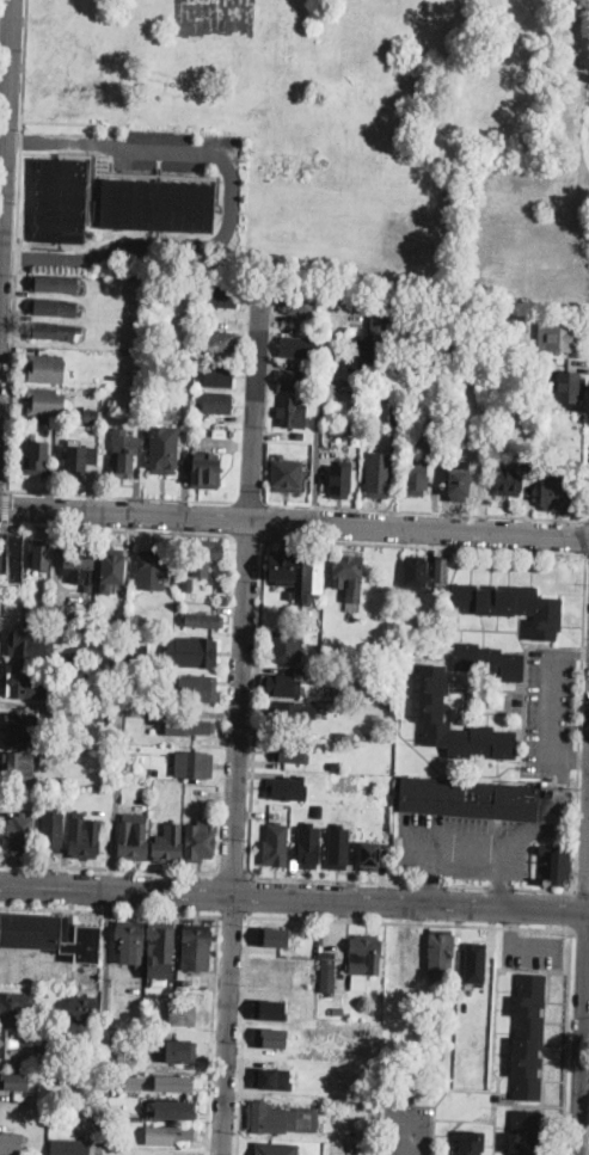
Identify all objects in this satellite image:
road: (70, 123)
road: (5, 156)
building: (59, 198)
road: (231, 202)
building: (157, 203)
road: (18, 245)
road: (1, 254)
building: (53, 283)
building: (188, 289)
building: (223, 296)
building: (300, 305)
building: (51, 308)
building: (209, 321)
building: (51, 331)
building: (529, 333)
building: (557, 337)
building: (367, 340)
building: (220, 342)
building: (299, 346)
building: (508, 346)
building: (551, 361)
building: (312, 365)
building: (45, 367)
building: (219, 377)
building: (140, 379)
building: (293, 381)
building: (571, 392)
building: (45, 403)
building: (217, 403)
building: (92, 413)
building: (292, 413)
building: (397, 416)
building: (300, 434)
road: (314, 451)
building: (164, 457)
building: (37, 459)
building: (79, 460)
building: (122, 463)
building: (579, 465)
building: (205, 471)
building: (287, 475)
building: (379, 475)
building: (417, 478)
building: (345, 480)
building: (509, 480)
building: (459, 481)
road: (4, 491)
building: (557, 492)
road: (119, 496)
road: (250, 503)
road: (7, 508)
road: (427, 511)
road: (587, 521)
road: (294, 522)
road: (4, 523)
road: (121, 530)
road: (252, 539)
road: (375, 543)
building: (205, 555)
road: (588, 555)
building: (39, 557)
building: (14, 560)
building: (79, 561)
building: (111, 567)
building: (281, 569)
building: (152, 570)
building: (348, 572)
building: (415, 573)
building: (440, 573)
building: (313, 575)
building: (188, 583)
building: (288, 592)
road: (2, 597)
building: (511, 606)
building: (61, 616)
building: (99, 620)
building: (204, 621)
building: (31, 644)
building: (286, 647)
building: (197, 650)
building: (139, 652)
road: (572, 653)
building: (75, 655)
building: (66, 658)
building: (490, 662)
building: (48, 668)
building: (55, 669)
building: (66, 670)
building: (25, 682)
building: (284, 686)
building: (198, 689)
road: (554, 707)
building: (434, 708)
building: (288, 714)
road: (239, 724)
building: (195, 727)
building: (24, 730)
building: (290, 751)
building: (66, 755)
road: (571, 761)
building: (288, 762)
building: (194, 764)
building: (335, 764)
building: (20, 766)
building: (287, 780)
road: (117, 781)
building: (468, 799)
building: (20, 830)
building: (53, 831)
building: (85, 838)
building: (201, 841)
building: (266, 841)
building: (131, 843)
building: (168, 844)
road: (498, 847)
building: (345, 849)
building: (369, 854)
building: (307, 855)
building: (381, 856)
building: (556, 866)
road: (109, 867)
road: (233, 874)
road: (431, 874)
road: (501, 877)
road: (430, 885)
road: (466, 887)
road: (501, 887)
road: (582, 891)
road: (251, 892)
road: (217, 893)
road: (294, 898)
road: (573, 910)
road: (109, 913)
road: (232, 915)
road: (409, 921)
road: (579, 929)
building: (272, 935)
building: (129, 941)
building: (57, 942)
building: (161, 944)
building: (197, 944)
road: (106, 947)
building: (441, 953)
building: (366, 954)
building: (474, 960)
road: (18, 966)
building: (329, 972)
building: (360, 983)
road: (582, 996)
building: (16, 1007)
building: (82, 1008)
building: (269, 1008)
building: (182, 1010)
building: (338, 1012)
building: (53, 1016)
road: (244, 1032)
road: (213, 1034)
building: (270, 1036)
building: (529, 1037)
road: (567, 1042)
building: (17, 1044)
building: (180, 1051)
building: (136, 1056)
building: (272, 1076)
building: (14, 1081)
building: (133, 1081)
building: (177, 1083)
building: (497, 1096)
building: (173, 1107)
building: (275, 1118)
building: (178, 1132)
road: (409, 1132)
building: (524, 1132)
road: (98, 1134)
building: (12, 1143)
building: (470, 1143)
building: (70, 1147)
building: (275, 1147)

